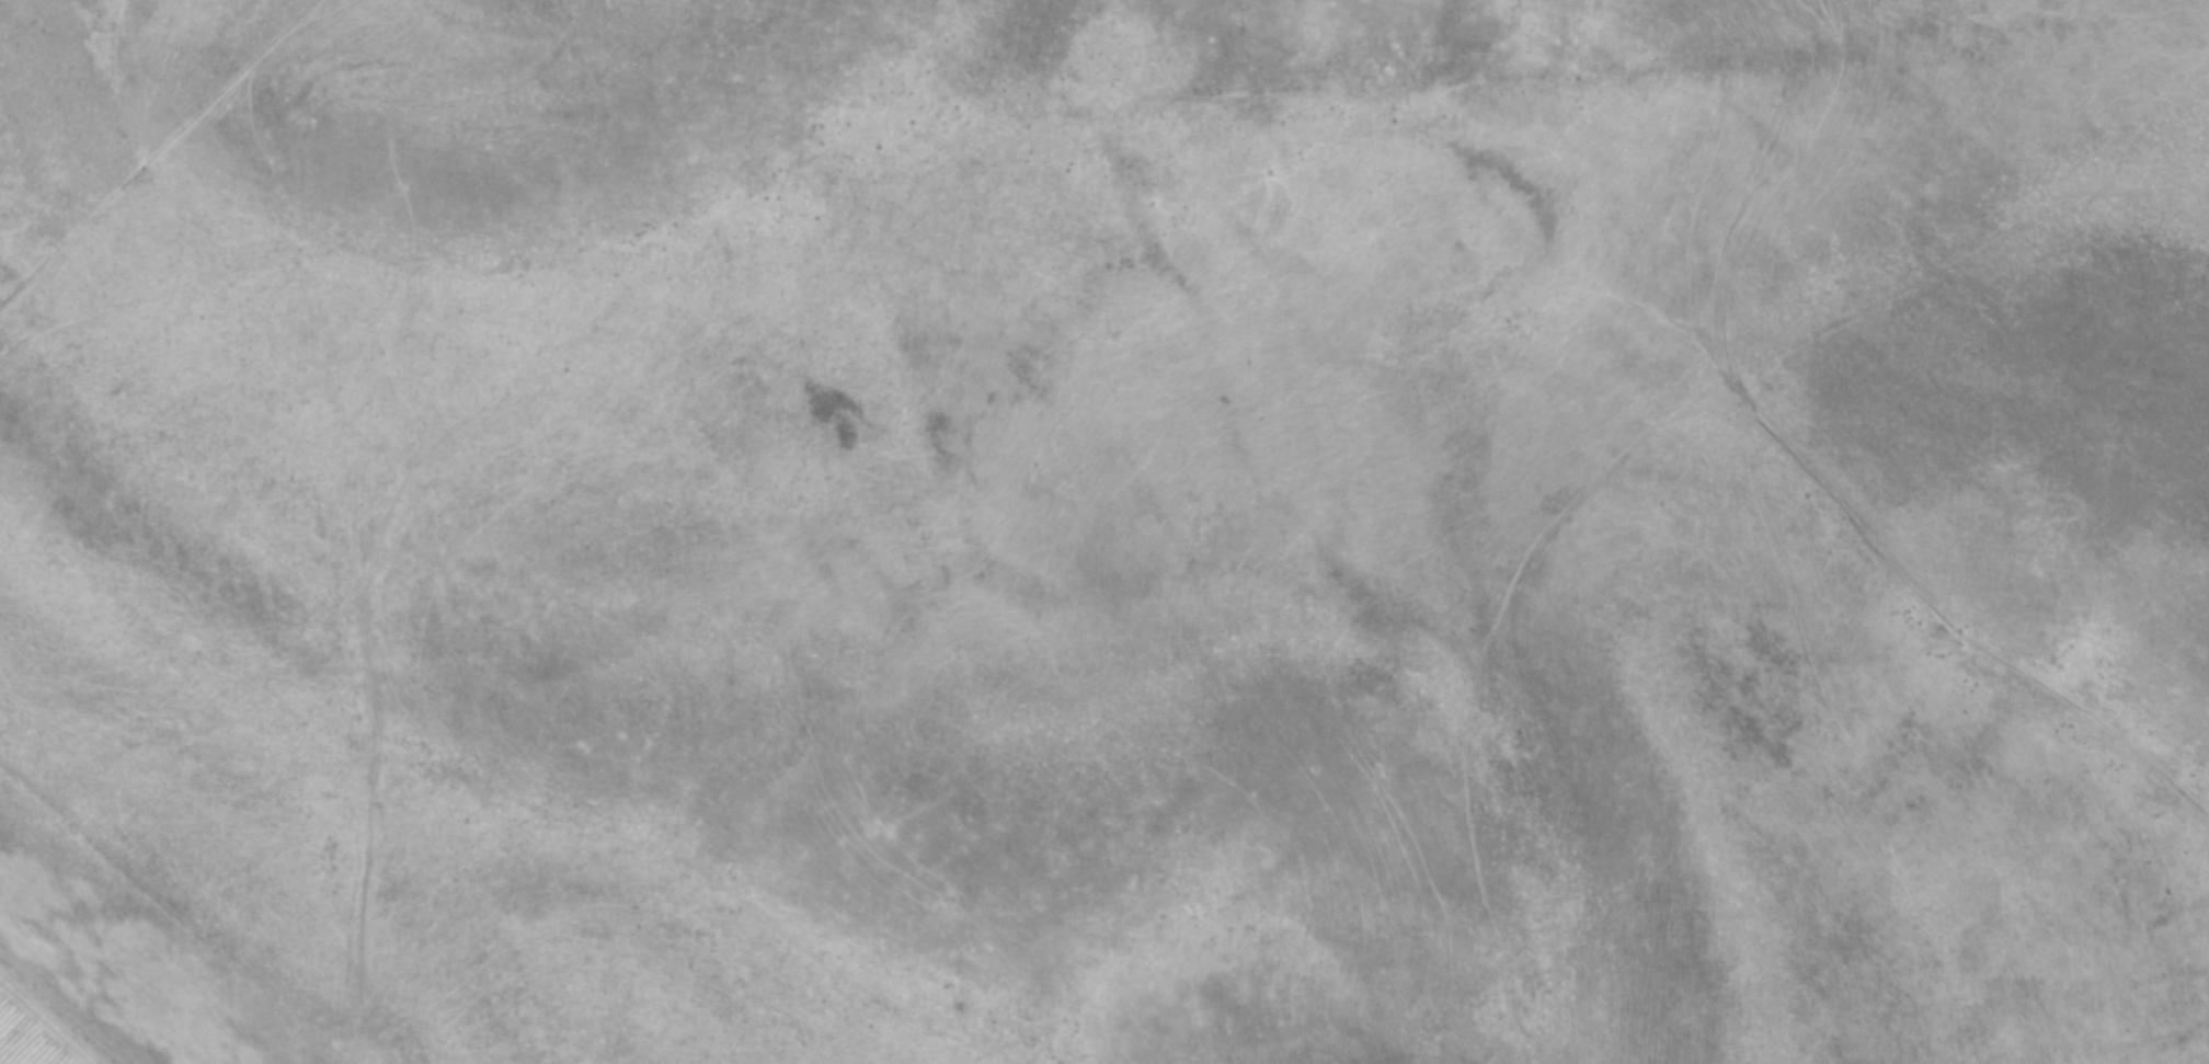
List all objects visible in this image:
road: (1712, 437)
crop: (39, 1030)
crop: (39, 1030)

